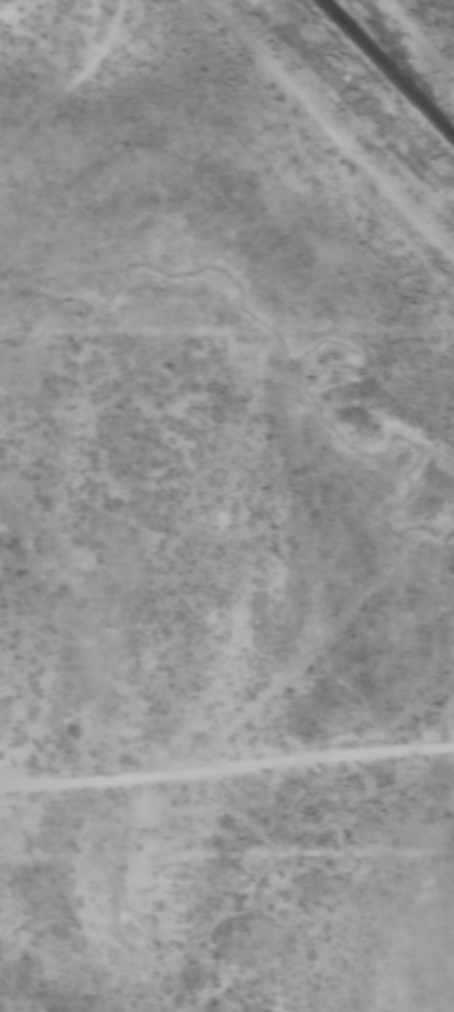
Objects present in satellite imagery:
railway: (386, 70)
road: (226, 767)

